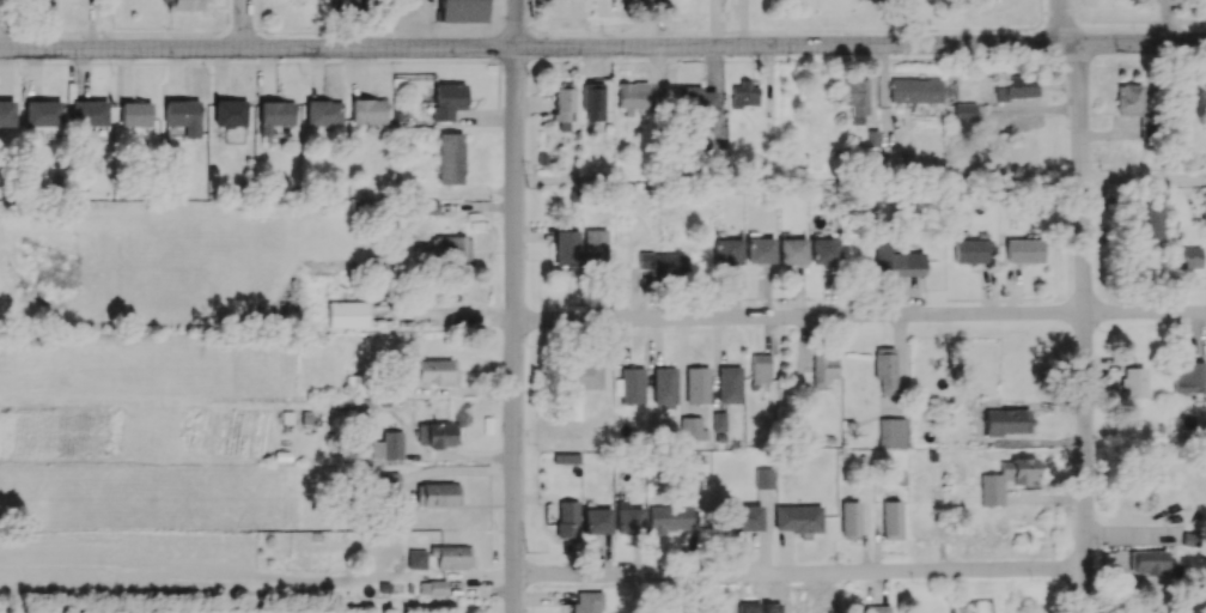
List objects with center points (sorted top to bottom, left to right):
building: (185, 4)
building: (347, 4)
building: (463, 11)
road: (1040, 11)
park: (914, 14)
road: (1062, 22)
road: (1169, 22)
road: (516, 24)
road: (243, 25)
road: (778, 31)
road: (1040, 34)
road: (1138, 44)
road: (793, 45)
road: (257, 50)
building: (1017, 87)
building: (915, 90)
building: (744, 95)
building: (632, 96)
building: (857, 96)
building: (1129, 99)
building: (447, 101)
building: (592, 101)
building: (699, 104)
building: (564, 105)
building: (368, 110)
building: (7, 113)
building: (89, 113)
building: (135, 113)
building: (231, 113)
building: (324, 113)
building: (964, 113)
building: (184, 115)
building: (276, 115)
building: (44, 116)
building: (450, 158)
road: (1145, 178)
building: (424, 207)
building: (1205, 208)
building: (1153, 213)
building: (595, 244)
building: (566, 247)
building: (451, 248)
building: (760, 250)
building: (792, 250)
building: (826, 250)
building: (974, 250)
building: (1024, 250)
building: (727, 251)
building: (1187, 257)
building: (897, 259)
building: (663, 265)
building: (347, 314)
road: (859, 315)
road: (1086, 328)
road: (514, 329)
building: (760, 368)
building: (885, 369)
building: (823, 370)
building: (433, 371)
building: (584, 375)
building: (1188, 377)
building: (1134, 382)
building: (633, 384)
building: (698, 384)
building: (730, 384)
building: (664, 386)
building: (569, 408)
building: (719, 421)
building: (1007, 421)
building: (692, 427)
building: (891, 432)
building: (438, 433)
building: (388, 445)
building: (566, 457)
building: (763, 478)
building: (1006, 479)
building: (389, 481)
building: (743, 517)
building: (628, 518)
building: (798, 518)
building: (567, 520)
building: (851, 520)
building: (891, 520)
building: (597, 521)
building: (452, 557)
building: (418, 558)
building: (1151, 560)
road: (802, 572)
building: (432, 587)
building: (586, 602)
building: (877, 608)

